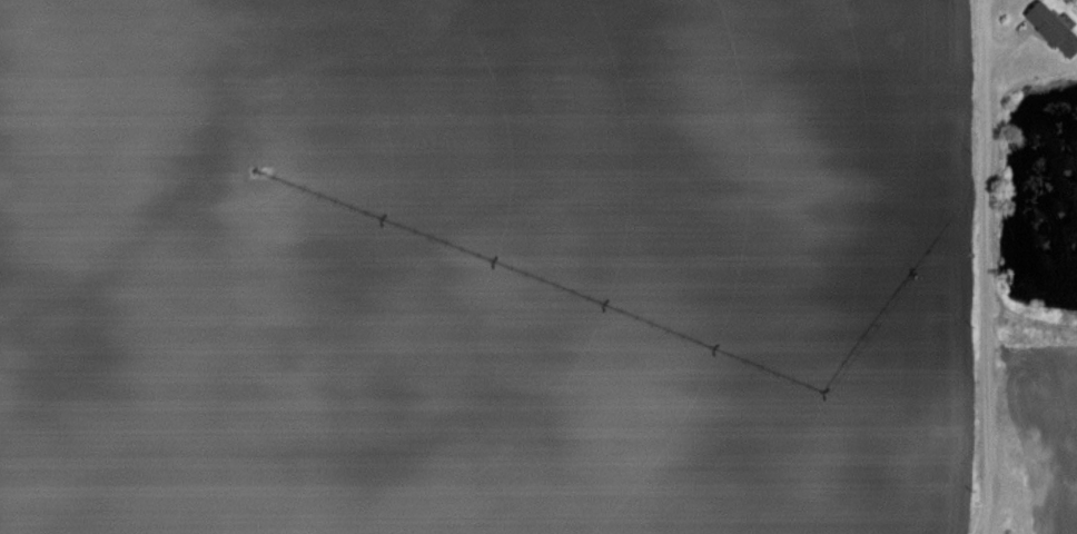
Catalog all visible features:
road: (986, 29)
building: (1054, 29)
building: (1043, 398)
building: (1035, 464)
building: (1044, 525)

